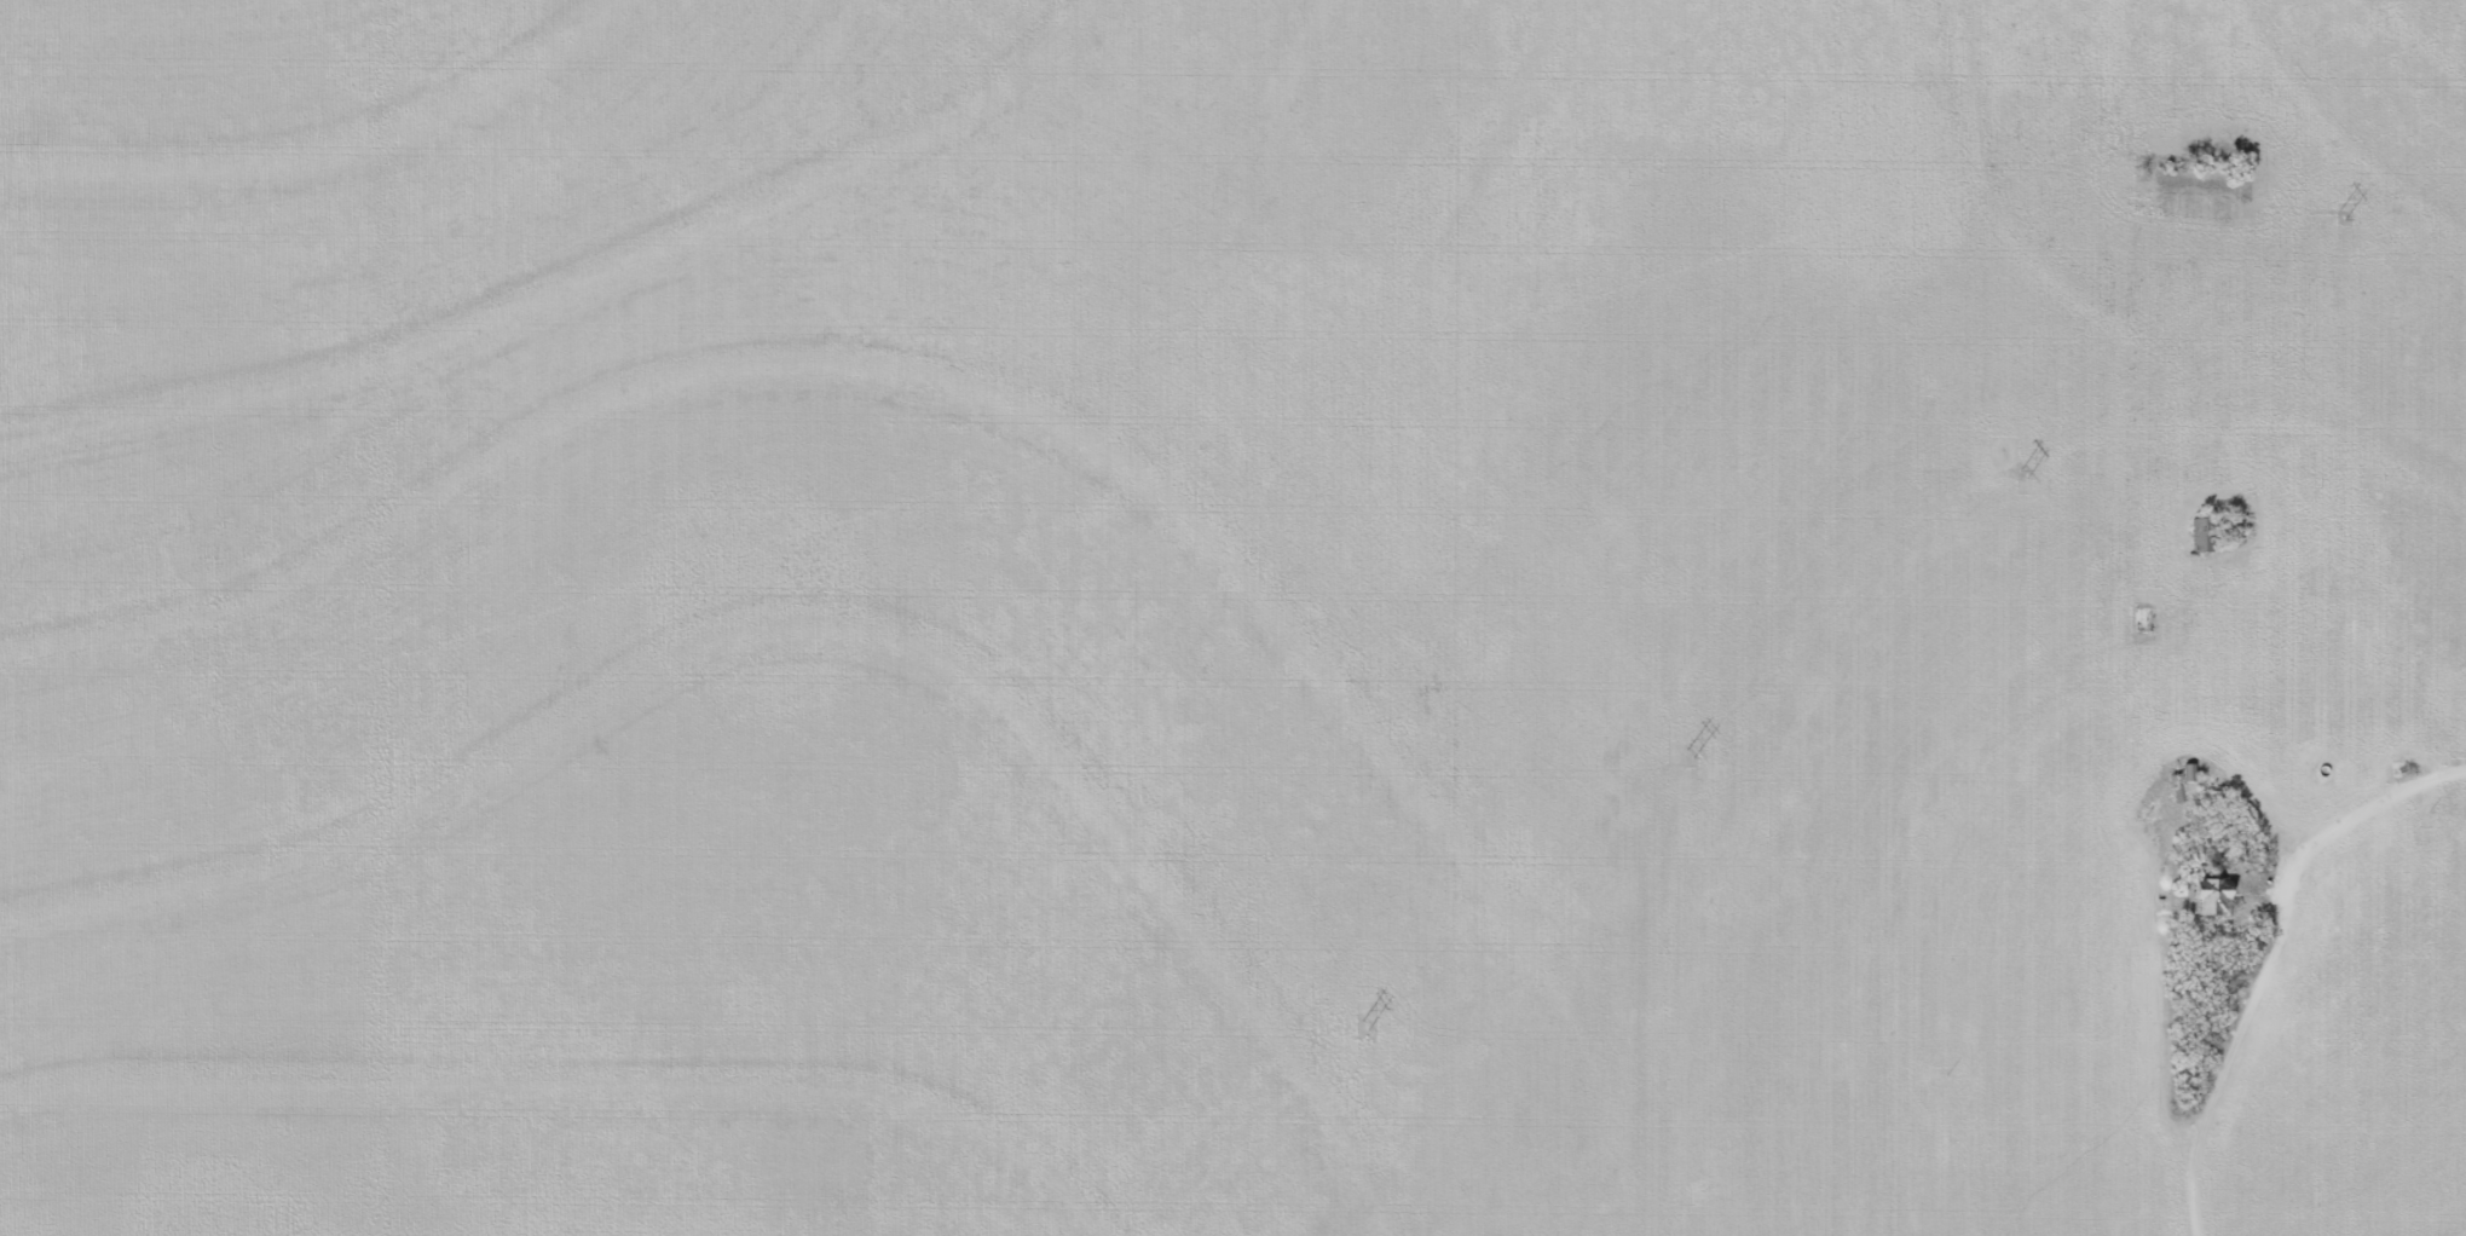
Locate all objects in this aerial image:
power tower: (2338, 219)
power tower: (2020, 477)
power tower: (1681, 751)
road: (2280, 976)
power tower: (1350, 1021)

